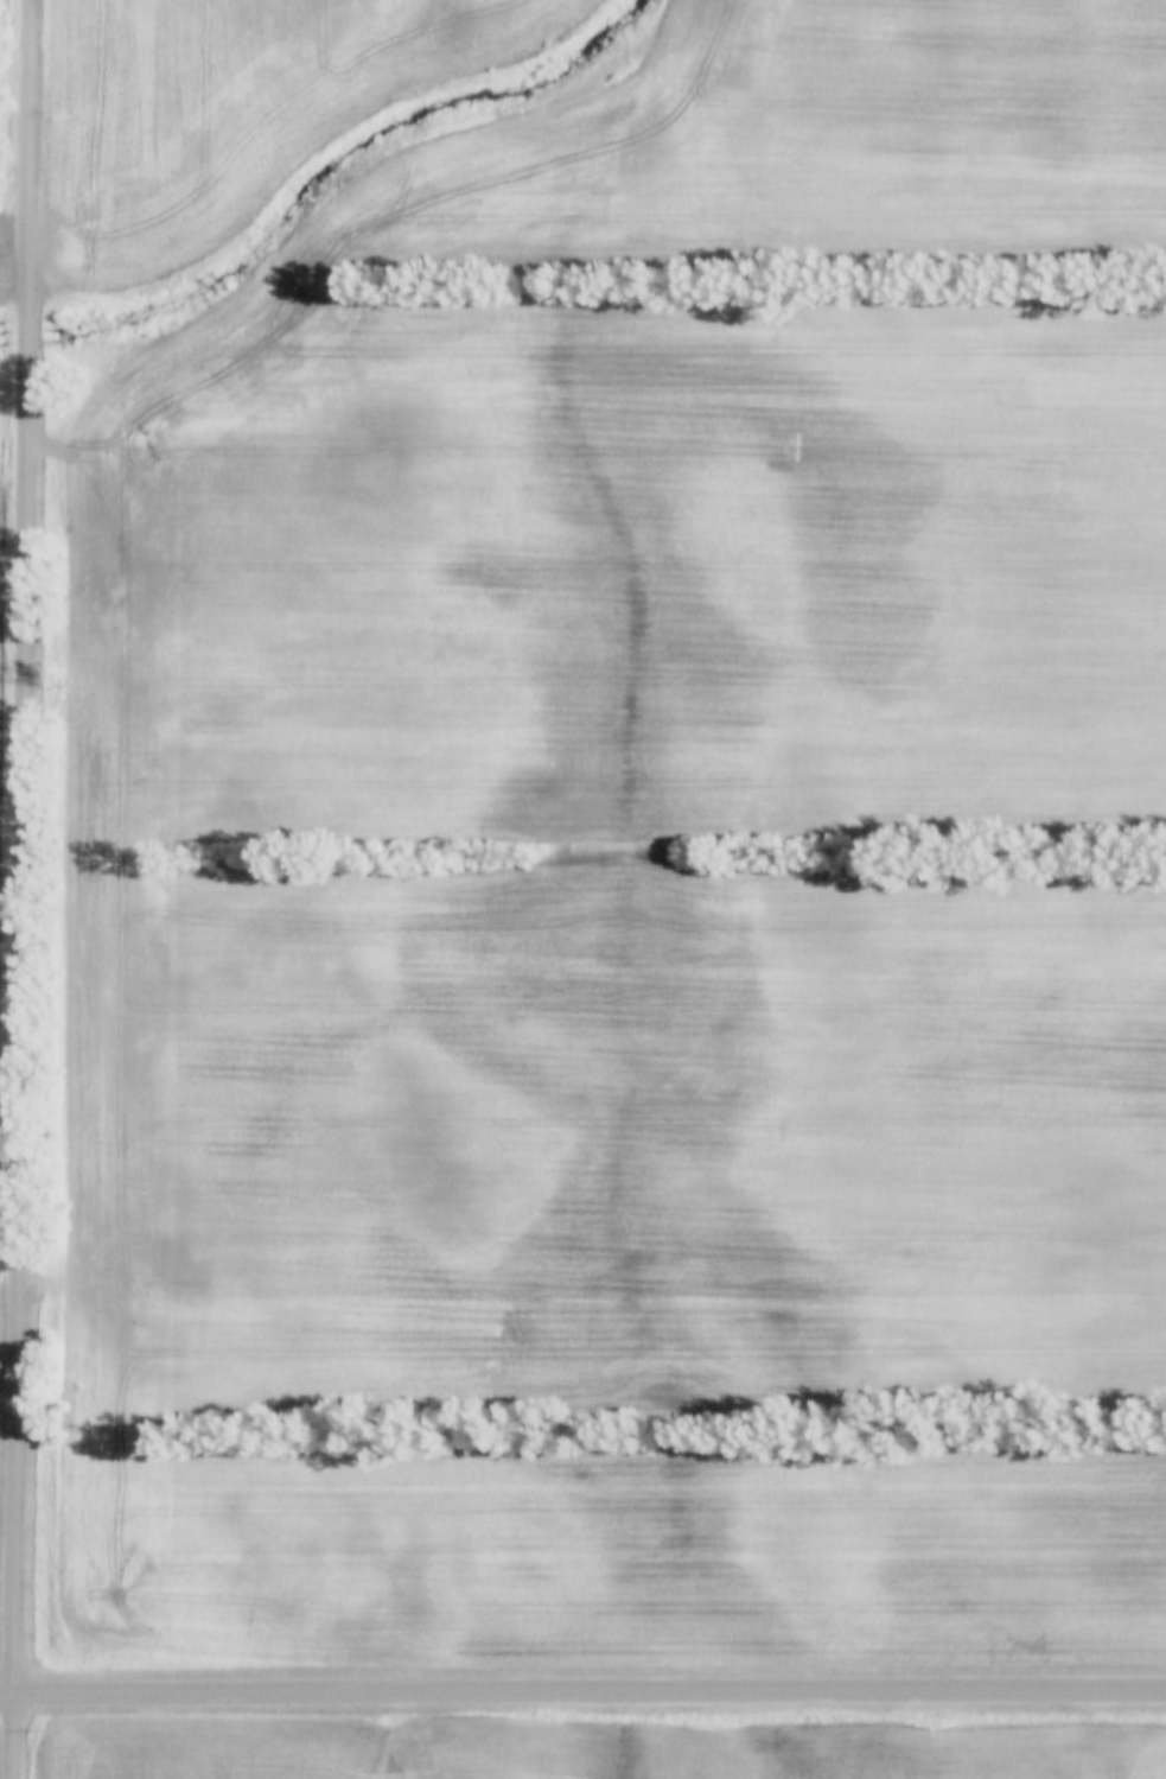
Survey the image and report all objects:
road: (21, 847)
road: (582, 1695)
road: (13, 1737)

